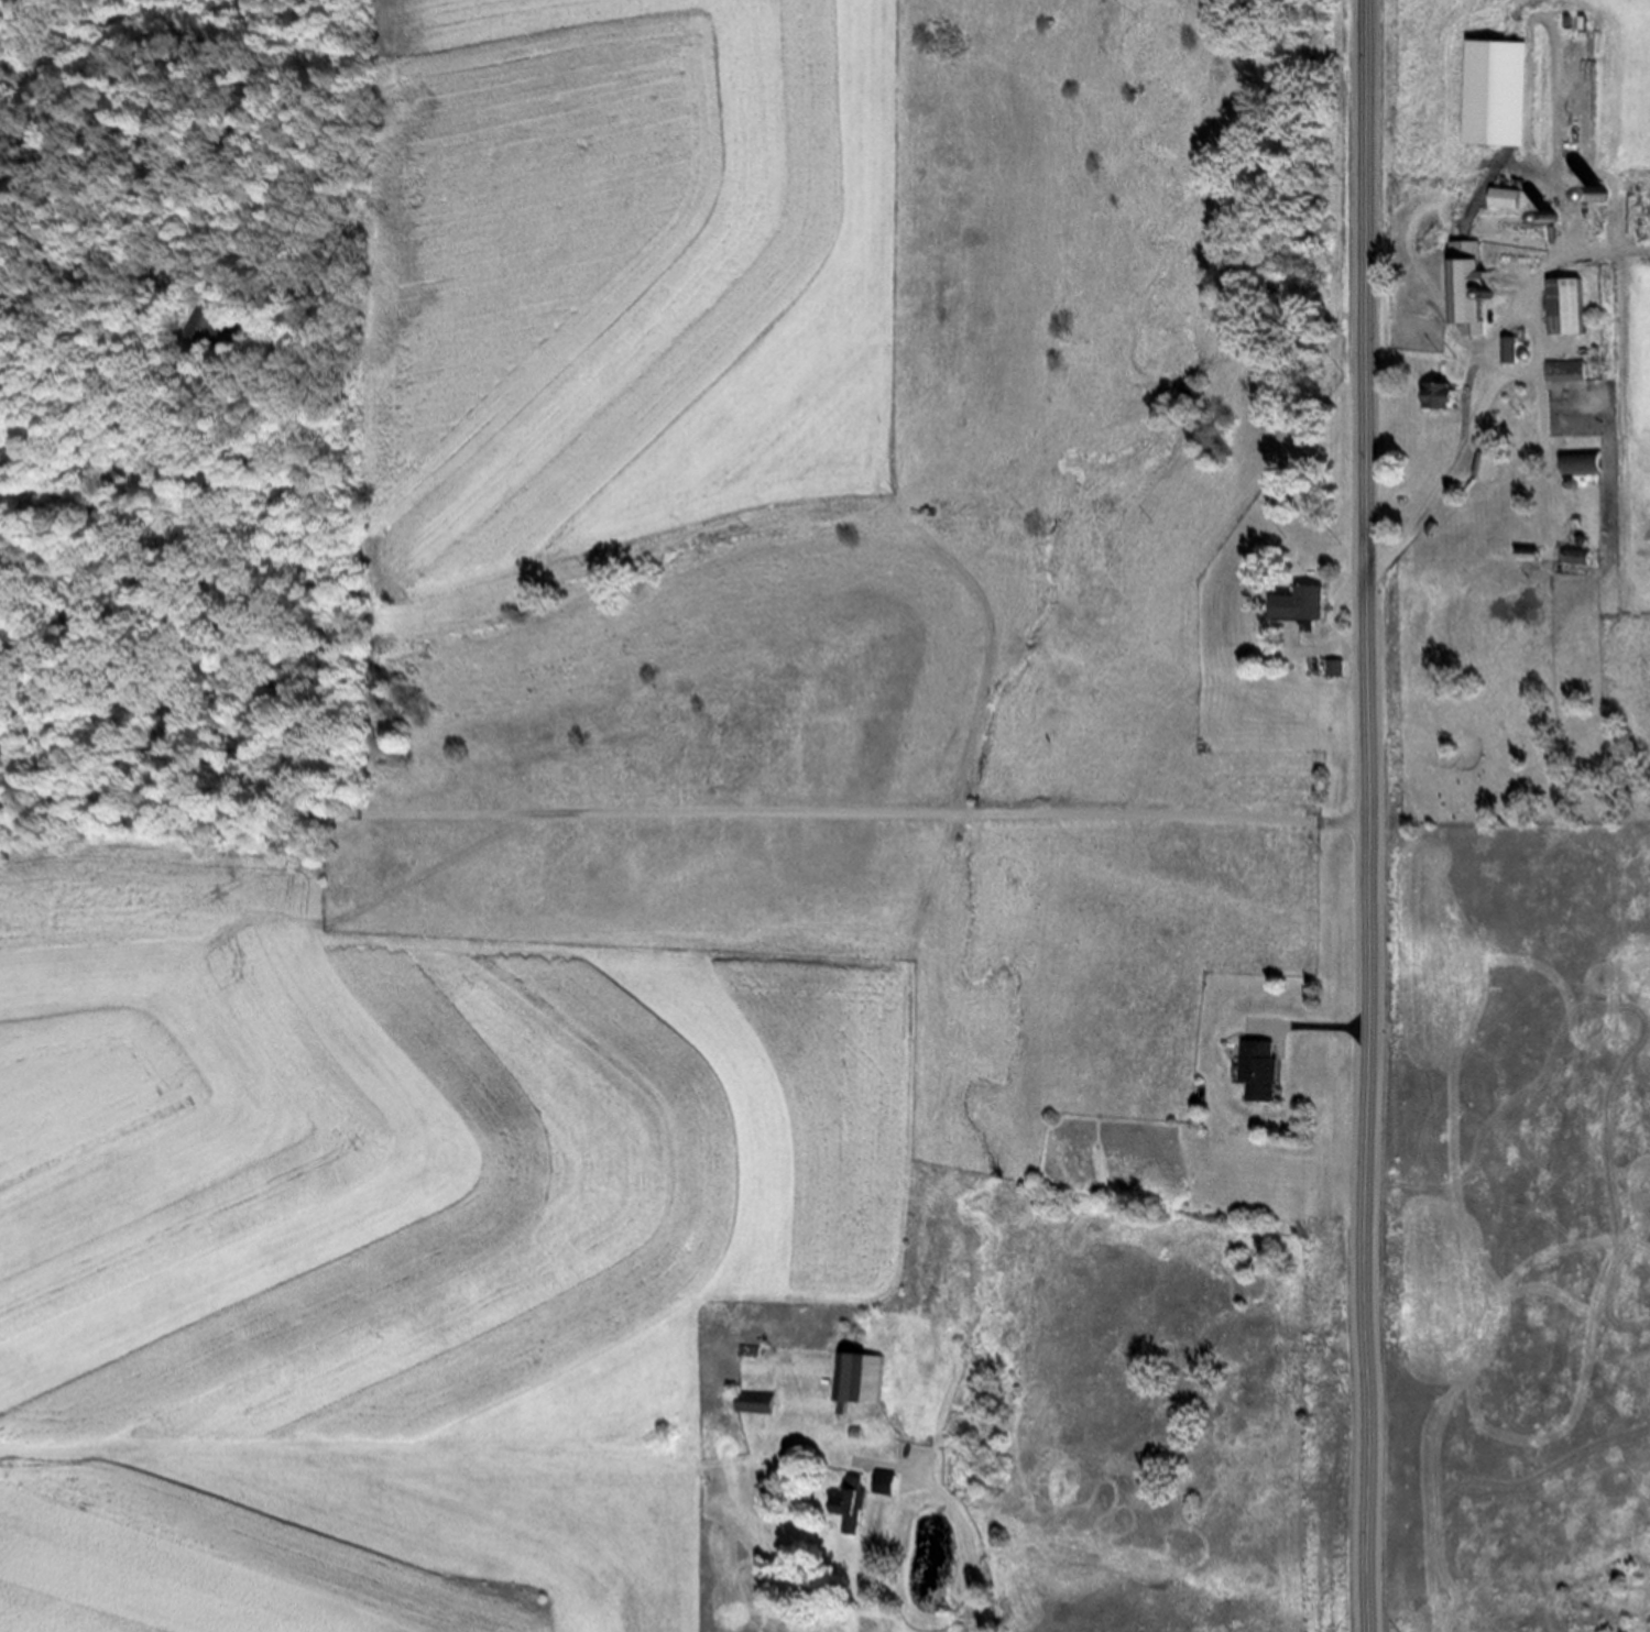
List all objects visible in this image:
building: (1514, 201)
road: (1611, 263)
building: (1476, 289)
building: (1573, 310)
building: (207, 321)
building: (1572, 376)
building: (1452, 397)
road: (1486, 420)
building: (1493, 463)
building: (1588, 467)
building: (1583, 560)
building: (1308, 611)
road: (1340, 623)
road: (1374, 815)
road: (870, 821)
road: (1322, 1026)
building: (1268, 1071)
building: (757, 1350)
building: (864, 1385)
building: (760, 1411)
road: (961, 1512)
building: (856, 1514)

